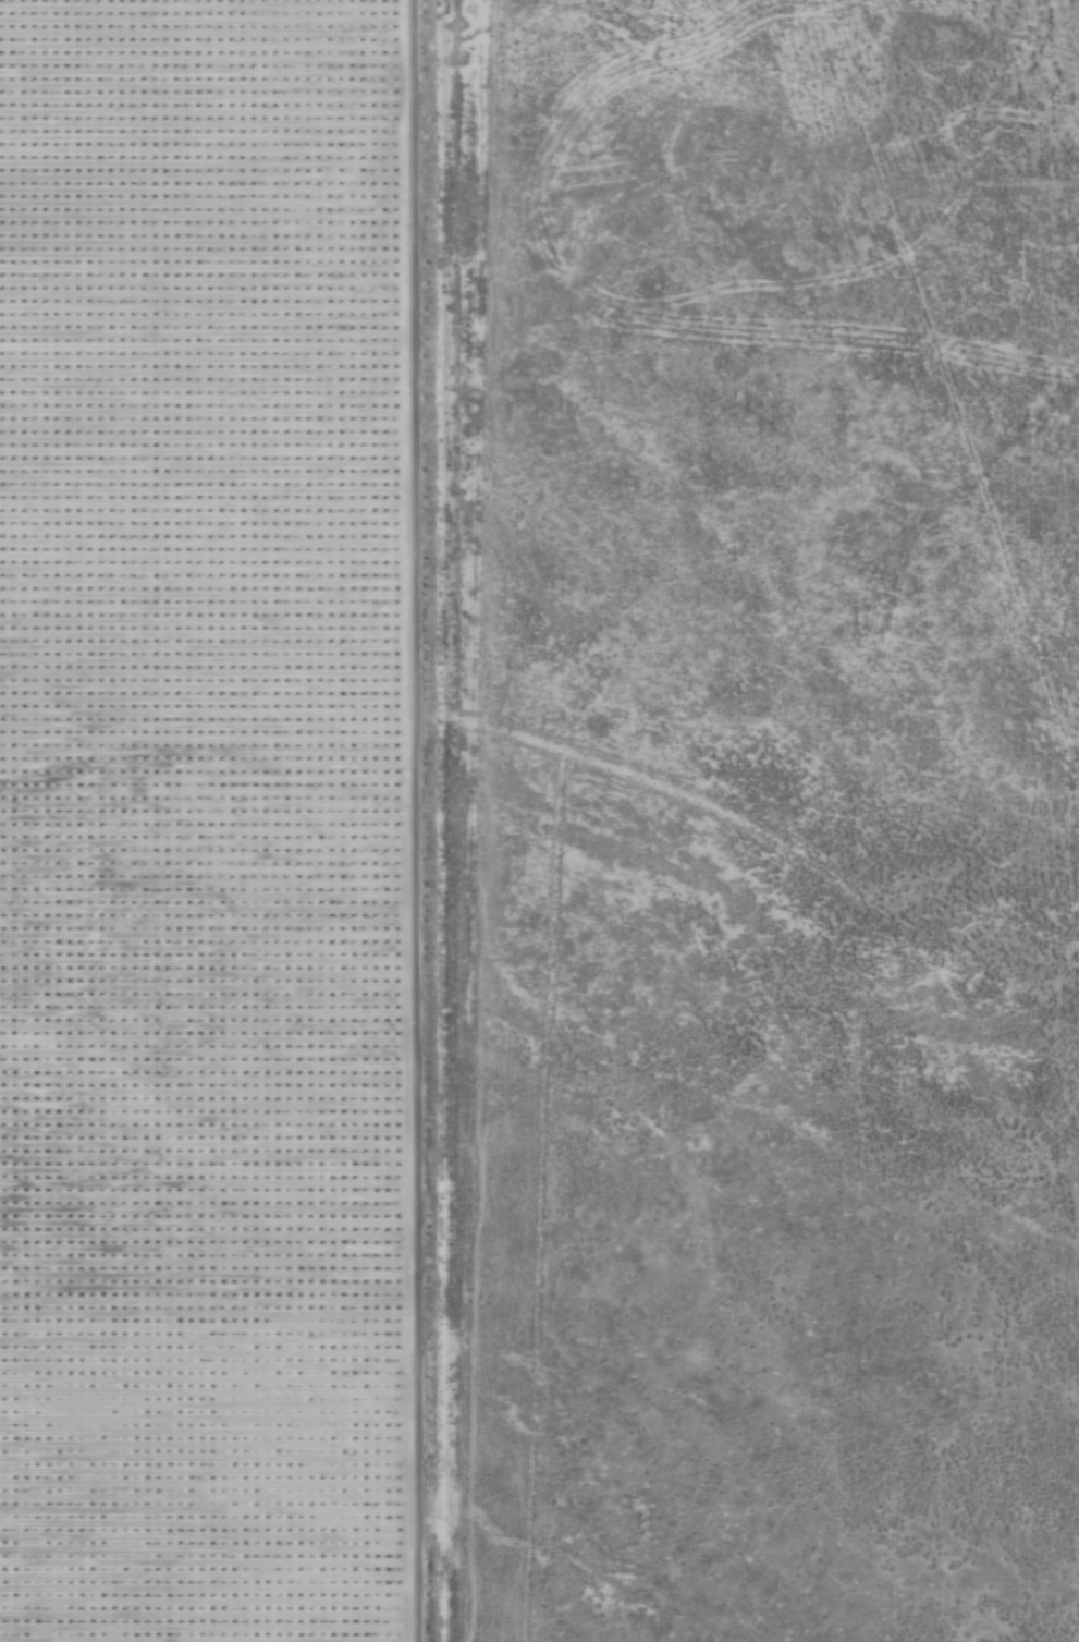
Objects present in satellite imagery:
crop: (195, 380)

